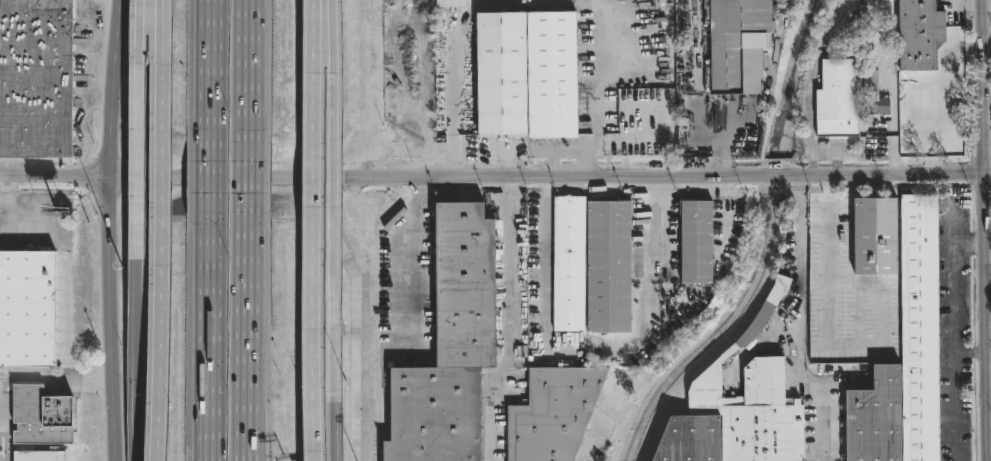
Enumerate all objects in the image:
building: (848, 0)
building: (447, 3)
road: (987, 18)
building: (923, 35)
building: (737, 45)
road: (213, 70)
road: (247, 71)
building: (522, 74)
building: (37, 79)
road: (984, 87)
road: (114, 88)
road: (596, 90)
building: (840, 99)
road: (139, 123)
road: (988, 173)
road: (492, 176)
road: (800, 181)
road: (212, 183)
road: (247, 183)
road: (800, 191)
road: (334, 195)
road: (828, 199)
road: (655, 221)
road: (721, 221)
road: (163, 230)
road: (314, 230)
building: (692, 242)
road: (545, 248)
road: (413, 261)
building: (589, 266)
road: (799, 275)
road: (831, 277)
building: (30, 313)
road: (987, 317)
road: (108, 319)
building: (917, 319)
road: (508, 326)
road: (247, 342)
road: (956, 342)
road: (212, 343)
building: (445, 346)
road: (137, 354)
road: (972, 355)
road: (55, 378)
road: (805, 380)
building: (737, 408)
building: (554, 413)
building: (42, 415)
road: (332, 425)
road: (823, 425)
building: (40, 455)

